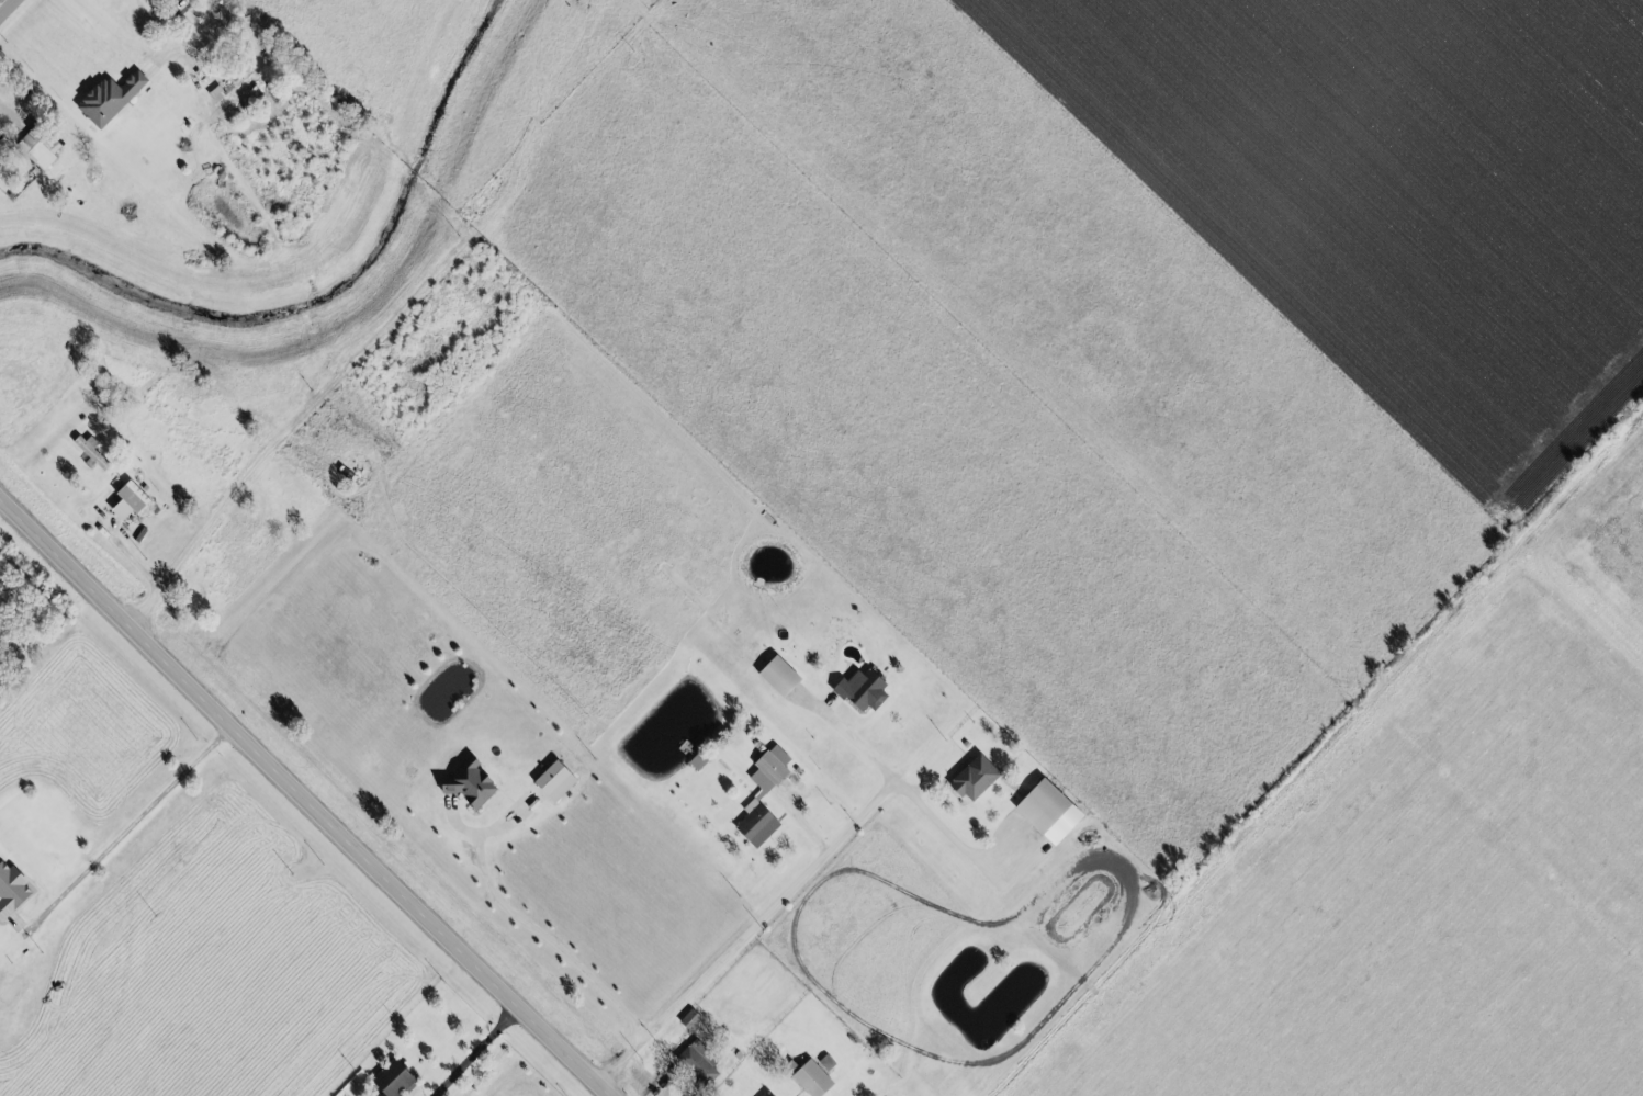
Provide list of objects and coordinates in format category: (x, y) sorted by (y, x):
building: (182, 0)
road: (8, 9)
road: (164, 36)
building: (246, 86)
building: (222, 94)
building: (105, 99)
building: (125, 501)
road: (217, 515)
road: (140, 576)
building: (775, 677)
building: (858, 691)
building: (970, 779)
building: (551, 782)
building: (465, 784)
road: (902, 789)
building: (759, 796)
road: (307, 799)
building: (1038, 806)
road: (134, 824)
building: (13, 890)
road: (538, 933)
road: (749, 933)
building: (686, 1019)
road: (480, 1051)
building: (696, 1064)
building: (808, 1078)
building: (389, 1080)
building: (763, 1094)

